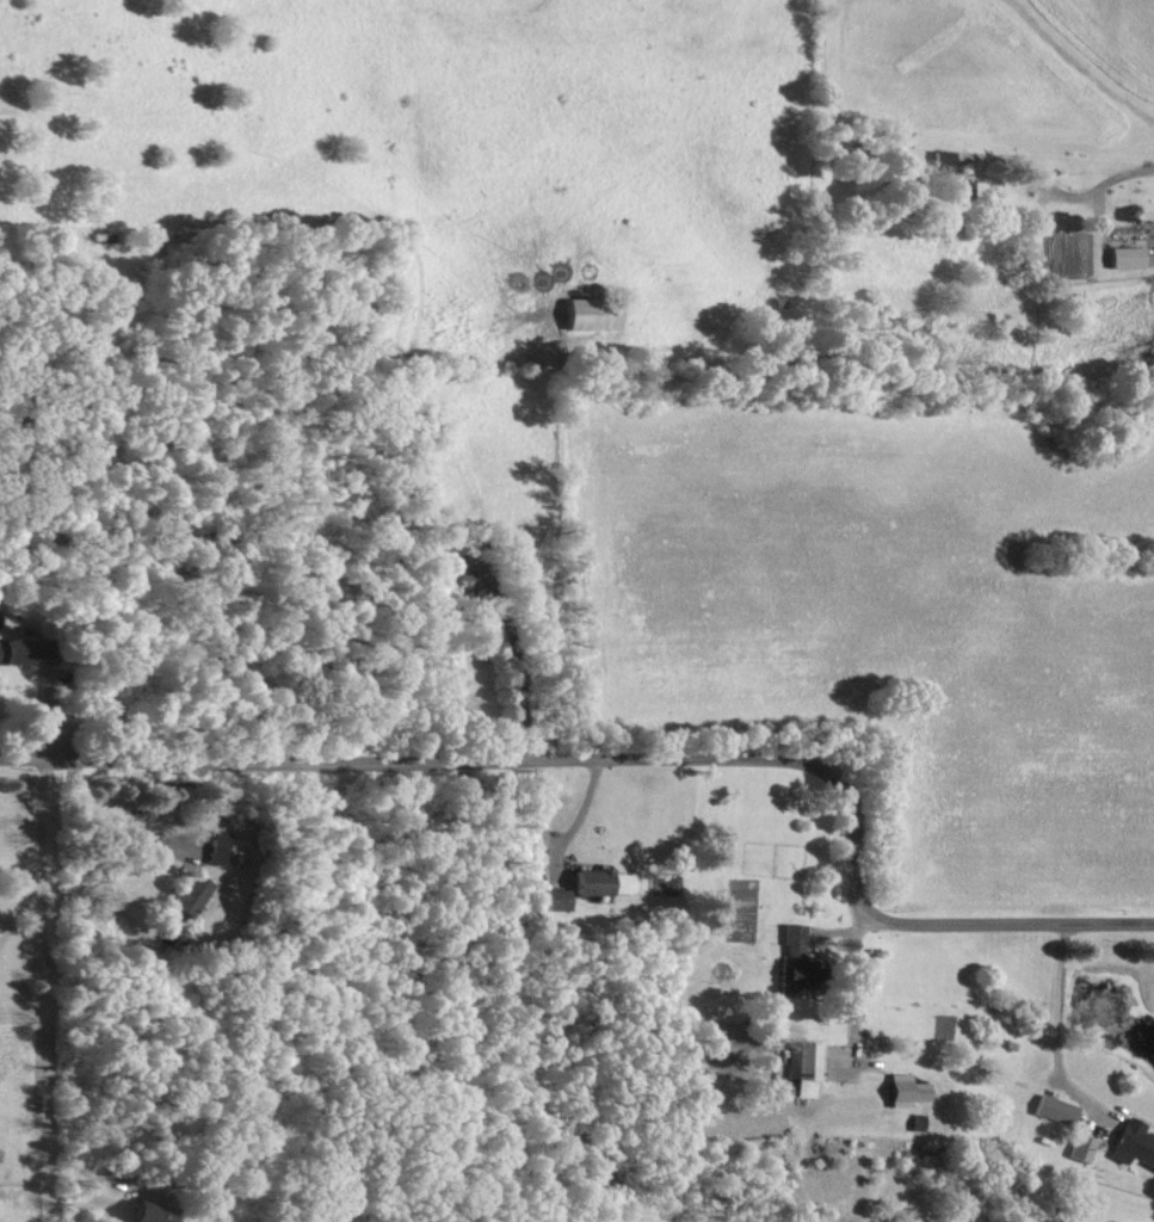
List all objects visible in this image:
building: (956, 185)
road: (1124, 198)
building: (1125, 257)
building: (590, 313)
building: (379, 322)
building: (23, 652)
road: (634, 758)
building: (590, 882)
building: (189, 895)
building: (555, 899)
building: (792, 962)
road: (62, 970)
road: (852, 989)
road: (1055, 1025)
building: (802, 1068)
building: (905, 1091)
building: (1051, 1110)
building: (1133, 1143)
building: (1080, 1148)
building: (144, 1212)

